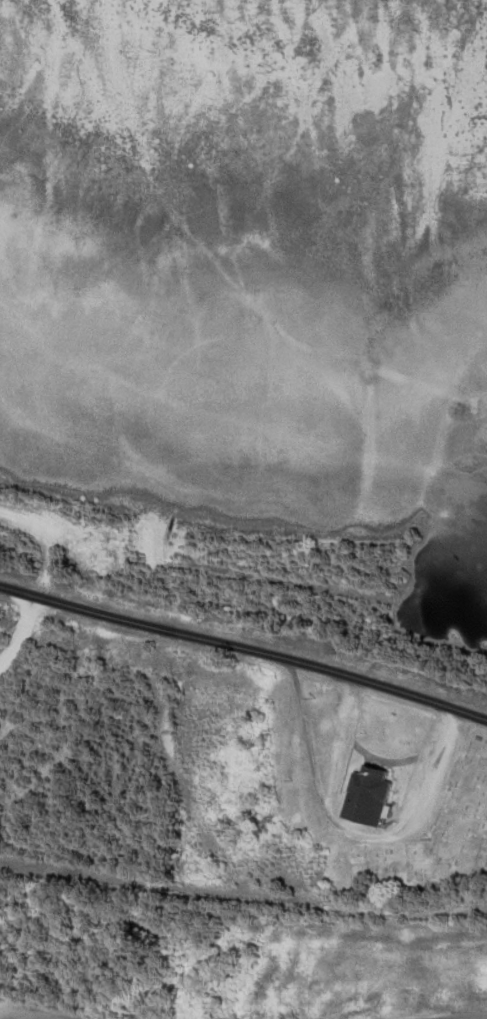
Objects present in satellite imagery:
road: (245, 649)
building: (369, 798)
road: (245, 896)
road: (1, 901)
road: (80, 953)
road: (14, 1017)

